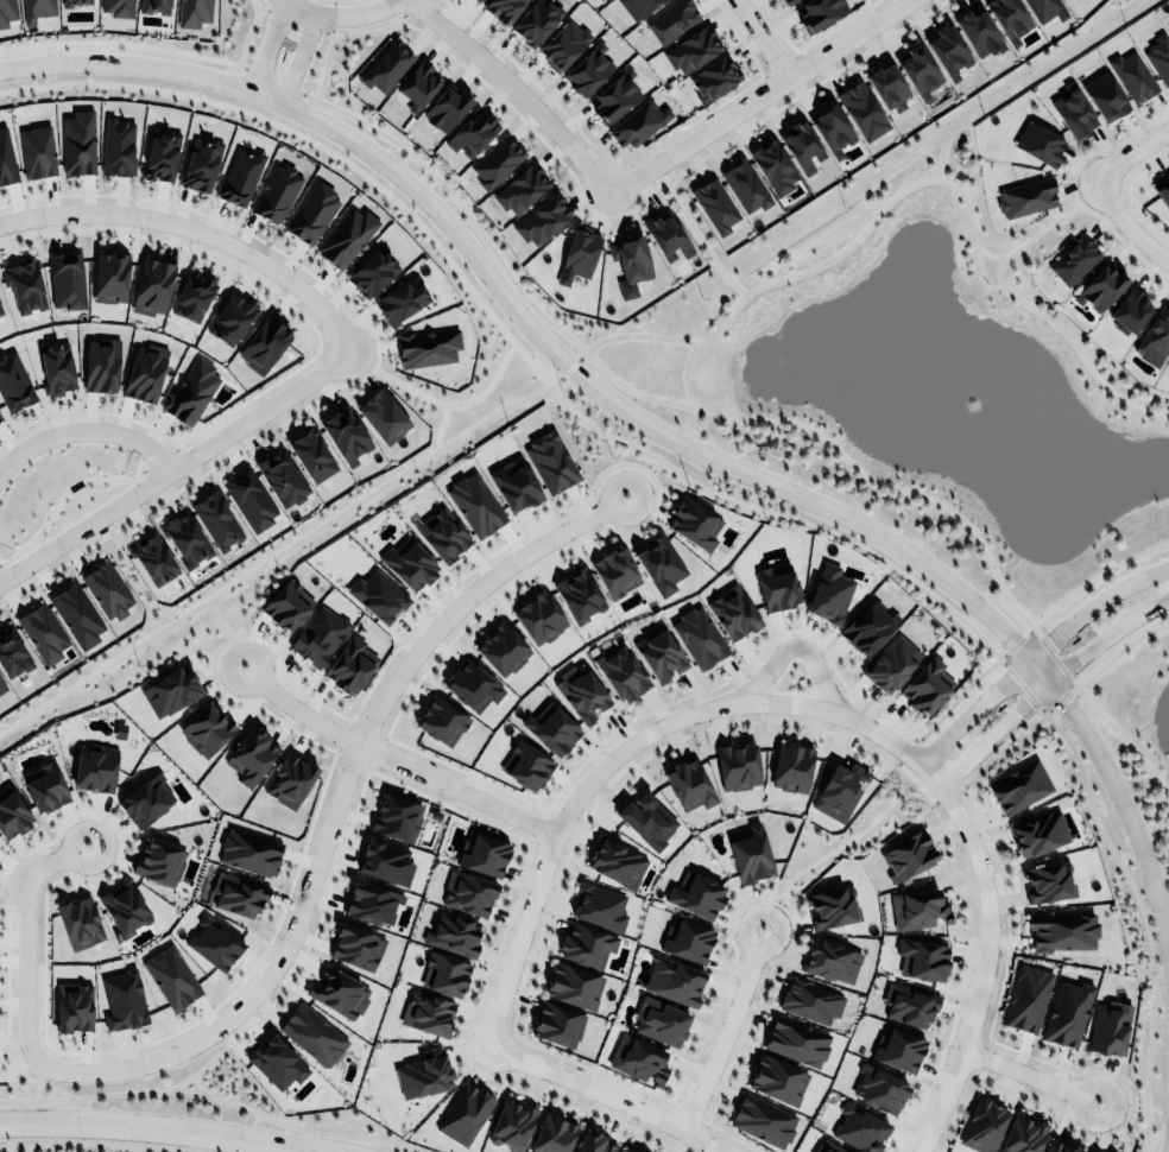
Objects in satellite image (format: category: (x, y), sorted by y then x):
building: (601, 0)
building: (474, 1)
building: (785, 1)
building: (76, 2)
building: (154, 6)
building: (637, 6)
building: (116, 7)
building: (37, 10)
building: (504, 10)
building: (1045, 10)
building: (816, 11)
building: (7, 12)
building: (194, 12)
road: (340, 14)
building: (1009, 19)
building: (535, 20)
building: (671, 20)
building: (1168, 25)
building: (978, 29)
road: (763, 38)
building: (563, 42)
road: (268, 45)
building: (691, 50)
building: (948, 51)
road: (298, 57)
building: (1158, 57)
building: (384, 65)
building: (588, 70)
building: (918, 70)
building: (1131, 75)
building: (713, 76)
building: (417, 83)
building: (889, 87)
road: (517, 90)
building: (613, 95)
building: (1105, 96)
road: (758, 97)
building: (446, 106)
building: (861, 109)
building: (1074, 112)
building: (637, 121)
building: (832, 129)
building: (470, 133)
building: (76, 141)
building: (1040, 143)
building: (115, 146)
building: (802, 146)
building: (36, 150)
building: (160, 156)
road: (1131, 158)
building: (7, 159)
building: (495, 162)
building: (197, 164)
building: (773, 166)
building: (240, 176)
building: (745, 185)
building: (520, 189)
building: (1163, 192)
building: (273, 194)
building: (1026, 196)
building: (714, 205)
building: (311, 210)
building: (541, 217)
road: (1126, 228)
road: (191, 229)
building: (665, 233)
building: (343, 235)
building: (579, 255)
building: (1074, 260)
building: (630, 262)
building: (369, 271)
building: (110, 277)
building: (64, 278)
building: (24, 284)
building: (150, 285)
building: (1100, 286)
building: (192, 296)
building: (400, 298)
building: (1130, 310)
building: (0, 311)
building: (230, 318)
building: (1155, 338)
building: (264, 342)
building: (424, 346)
building: (99, 365)
building: (1168, 366)
building: (53, 368)
building: (144, 372)
building: (13, 382)
building: (191, 391)
fountain: (968, 394)
building: (0, 416)
building: (383, 416)
road: (642, 422)
road: (83, 429)
building: (346, 436)
building: (311, 455)
road: (173, 462)
building: (551, 462)
building: (280, 475)
building: (516, 481)
building: (249, 498)
building: (475, 501)
building: (215, 519)
building: (693, 521)
building: (443, 533)
building: (187, 537)
building: (153, 557)
building: (409, 563)
building: (658, 563)
building: (614, 570)
building: (776, 586)
building: (105, 589)
building: (828, 590)
building: (375, 594)
building: (579, 594)
building: (287, 605)
building: (732, 608)
building: (76, 614)
building: (539, 618)
building: (868, 628)
building: (42, 633)
building: (318, 635)
building: (700, 637)
road: (794, 646)
building: (503, 647)
building: (661, 651)
road: (1035, 651)
building: (12, 653)
building: (891, 664)
building: (350, 665)
building: (620, 671)
building: (472, 681)
road: (1051, 684)
building: (1, 685)
building: (927, 686)
building: (170, 689)
building: (582, 692)
road: (816, 705)
building: (442, 717)
building: (551, 726)
building: (206, 729)
building: (251, 757)
road: (390, 759)
building: (525, 761)
building: (737, 764)
building: (95, 767)
building: (791, 767)
building: (290, 780)
building: (689, 784)
building: (1018, 784)
building: (46, 785)
building: (840, 790)
building: (145, 797)
road: (924, 797)
building: (11, 810)
road: (326, 810)
building: (397, 817)
building: (647, 819)
building: (1038, 831)
road: (846, 846)
building: (484, 849)
building: (249, 852)
building: (750, 853)
building: (908, 855)
building: (157, 859)
building: (615, 860)
building: (385, 862)
building: (1047, 882)
building: (468, 893)
building: (238, 894)
building: (695, 894)
building: (373, 903)
building: (600, 904)
building: (124, 906)
building: (830, 906)
building: (918, 909)
building: (81, 923)
building: (1062, 930)
building: (453, 933)
road: (14, 938)
building: (687, 938)
building: (214, 941)
building: (355, 945)
building: (586, 945)
building: (832, 958)
building: (923, 960)
building: (444, 973)
building: (171, 976)
building: (676, 980)
building: (575, 985)
building: (339, 992)
building: (1026, 998)
building: (810, 999)
building: (124, 1000)
building: (908, 1004)
building: (74, 1006)
building: (426, 1012)
building: (1067, 1012)
building: (659, 1018)
building: (557, 1023)
building: (1110, 1027)
road: (722, 1030)
building: (312, 1031)
building: (796, 1039)
building: (898, 1049)
building: (637, 1056)
building: (276, 1059)
building: (424, 1070)
road: (1030, 1075)
building: (778, 1080)
building: (879, 1089)
road: (609, 1094)
road: (1132, 1104)
building: (462, 1112)
building: (513, 1120)
building: (763, 1120)
building: (982, 1126)
road: (159, 1127)
building: (860, 1128)
building: (552, 1134)
building: (1023, 1134)
building: (593, 1142)
building: (828, 1146)
building: (1060, 1146)
building: (627, 1150)
building: (1095, 1150)
building: (638, 1151)
building: (1087, 1151)

